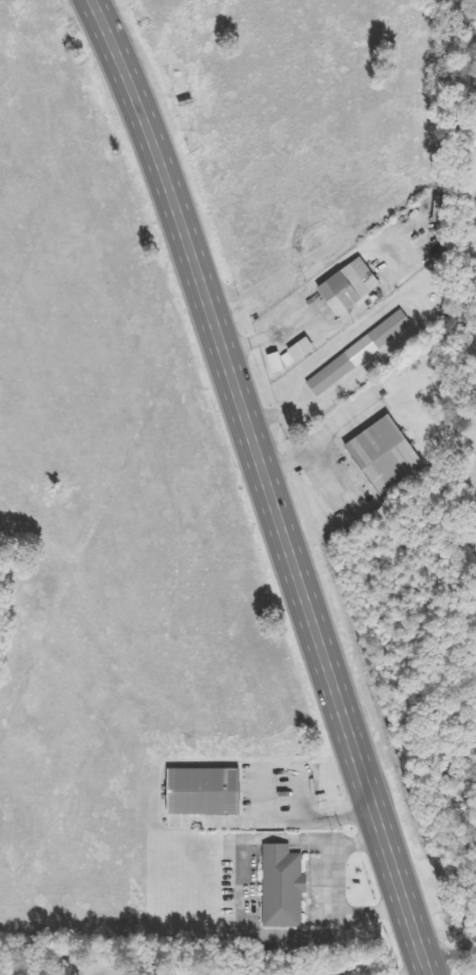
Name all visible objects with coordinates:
building: (351, 287)
building: (300, 352)
building: (361, 353)
building: (277, 363)
building: (385, 455)
road: (268, 484)
building: (205, 792)
building: (285, 887)
road: (450, 951)

